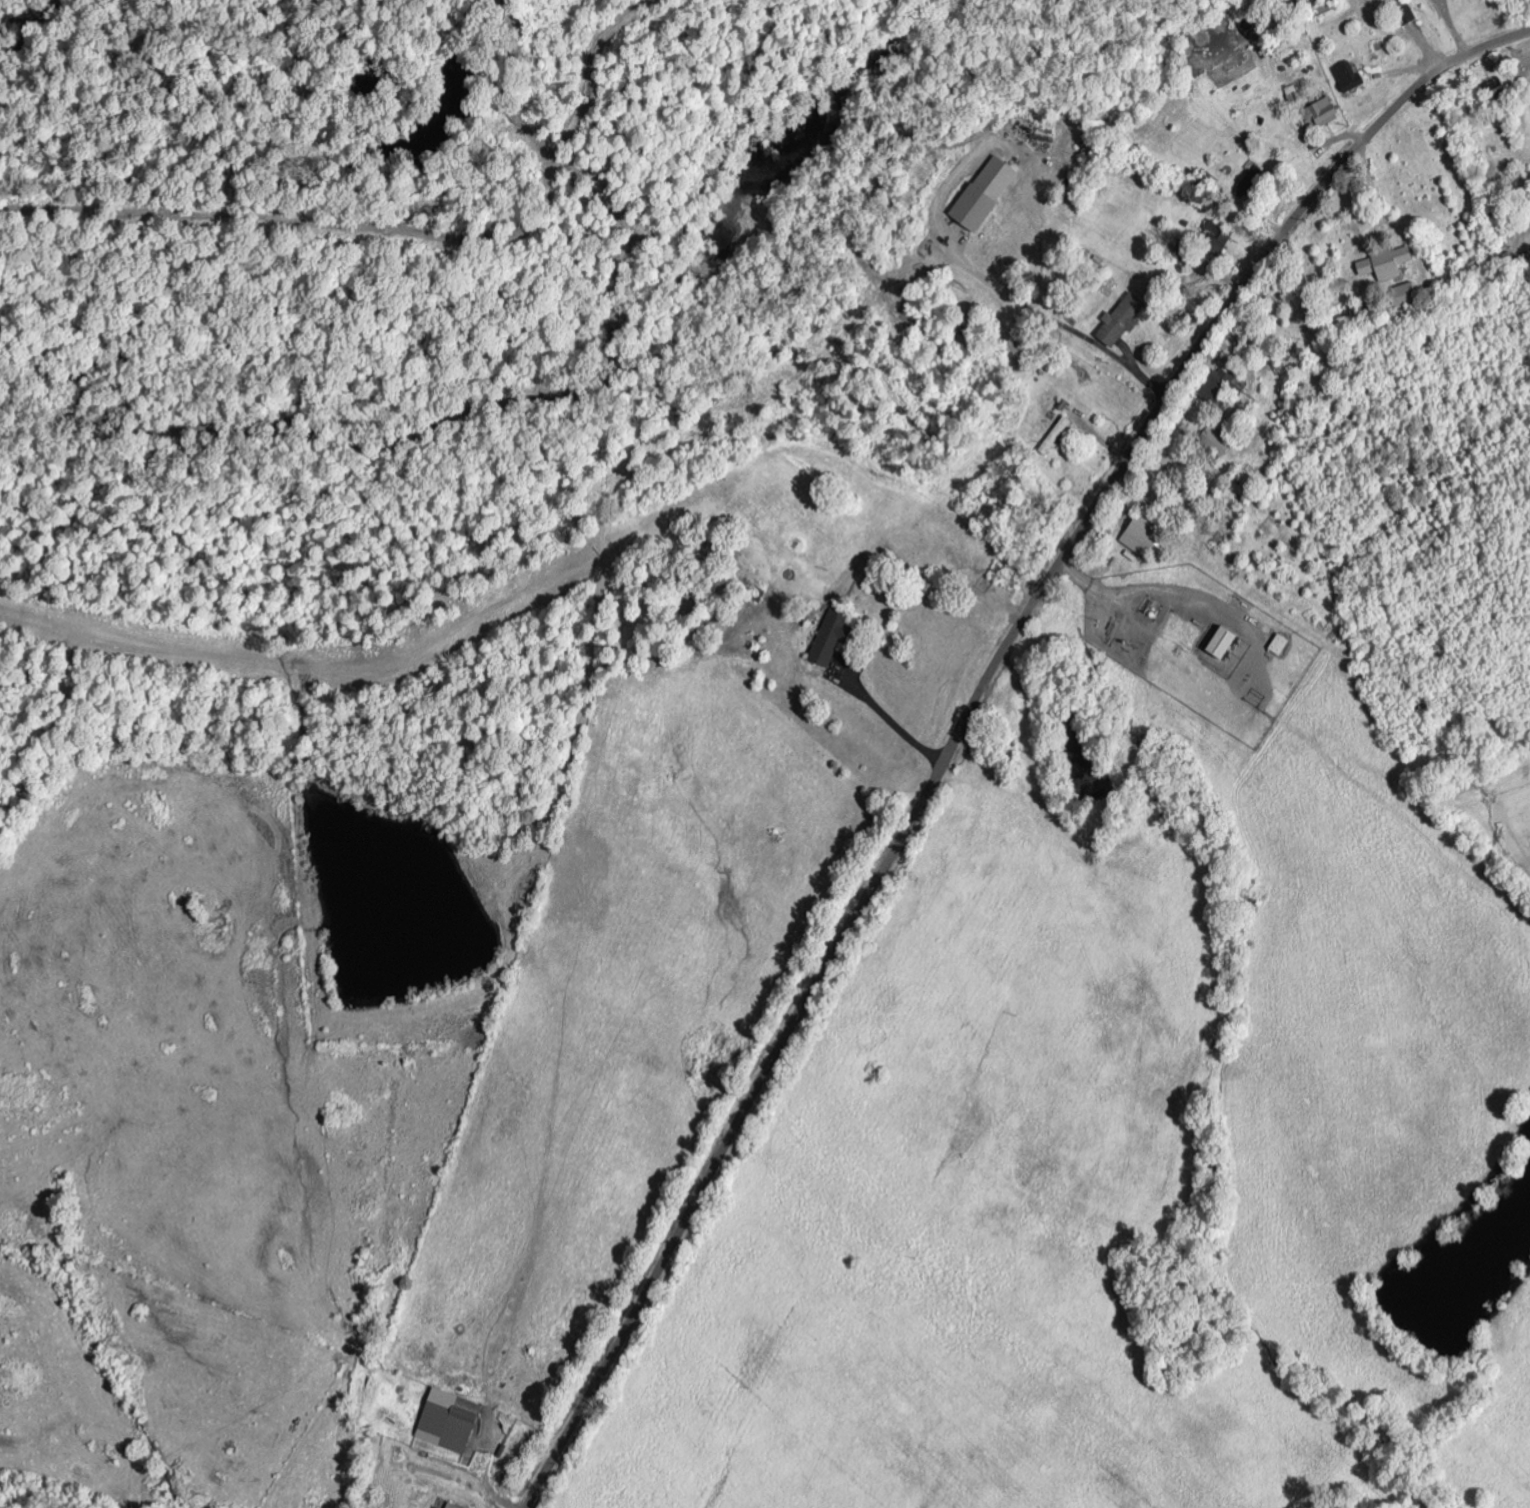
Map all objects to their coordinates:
building: (1405, 16)
building: (1349, 78)
building: (1495, 93)
building: (1321, 113)
building: (1254, 181)
building: (983, 194)
building: (1217, 237)
building: (1385, 264)
building: (1403, 295)
building: (1121, 319)
building: (1220, 388)
building: (1054, 436)
building: (1215, 442)
building: (1144, 532)
building: (830, 638)
building: (1220, 643)
building: (1279, 645)
road: (967, 718)
road: (994, 1055)
building: (447, 1421)
building: (451, 1506)

